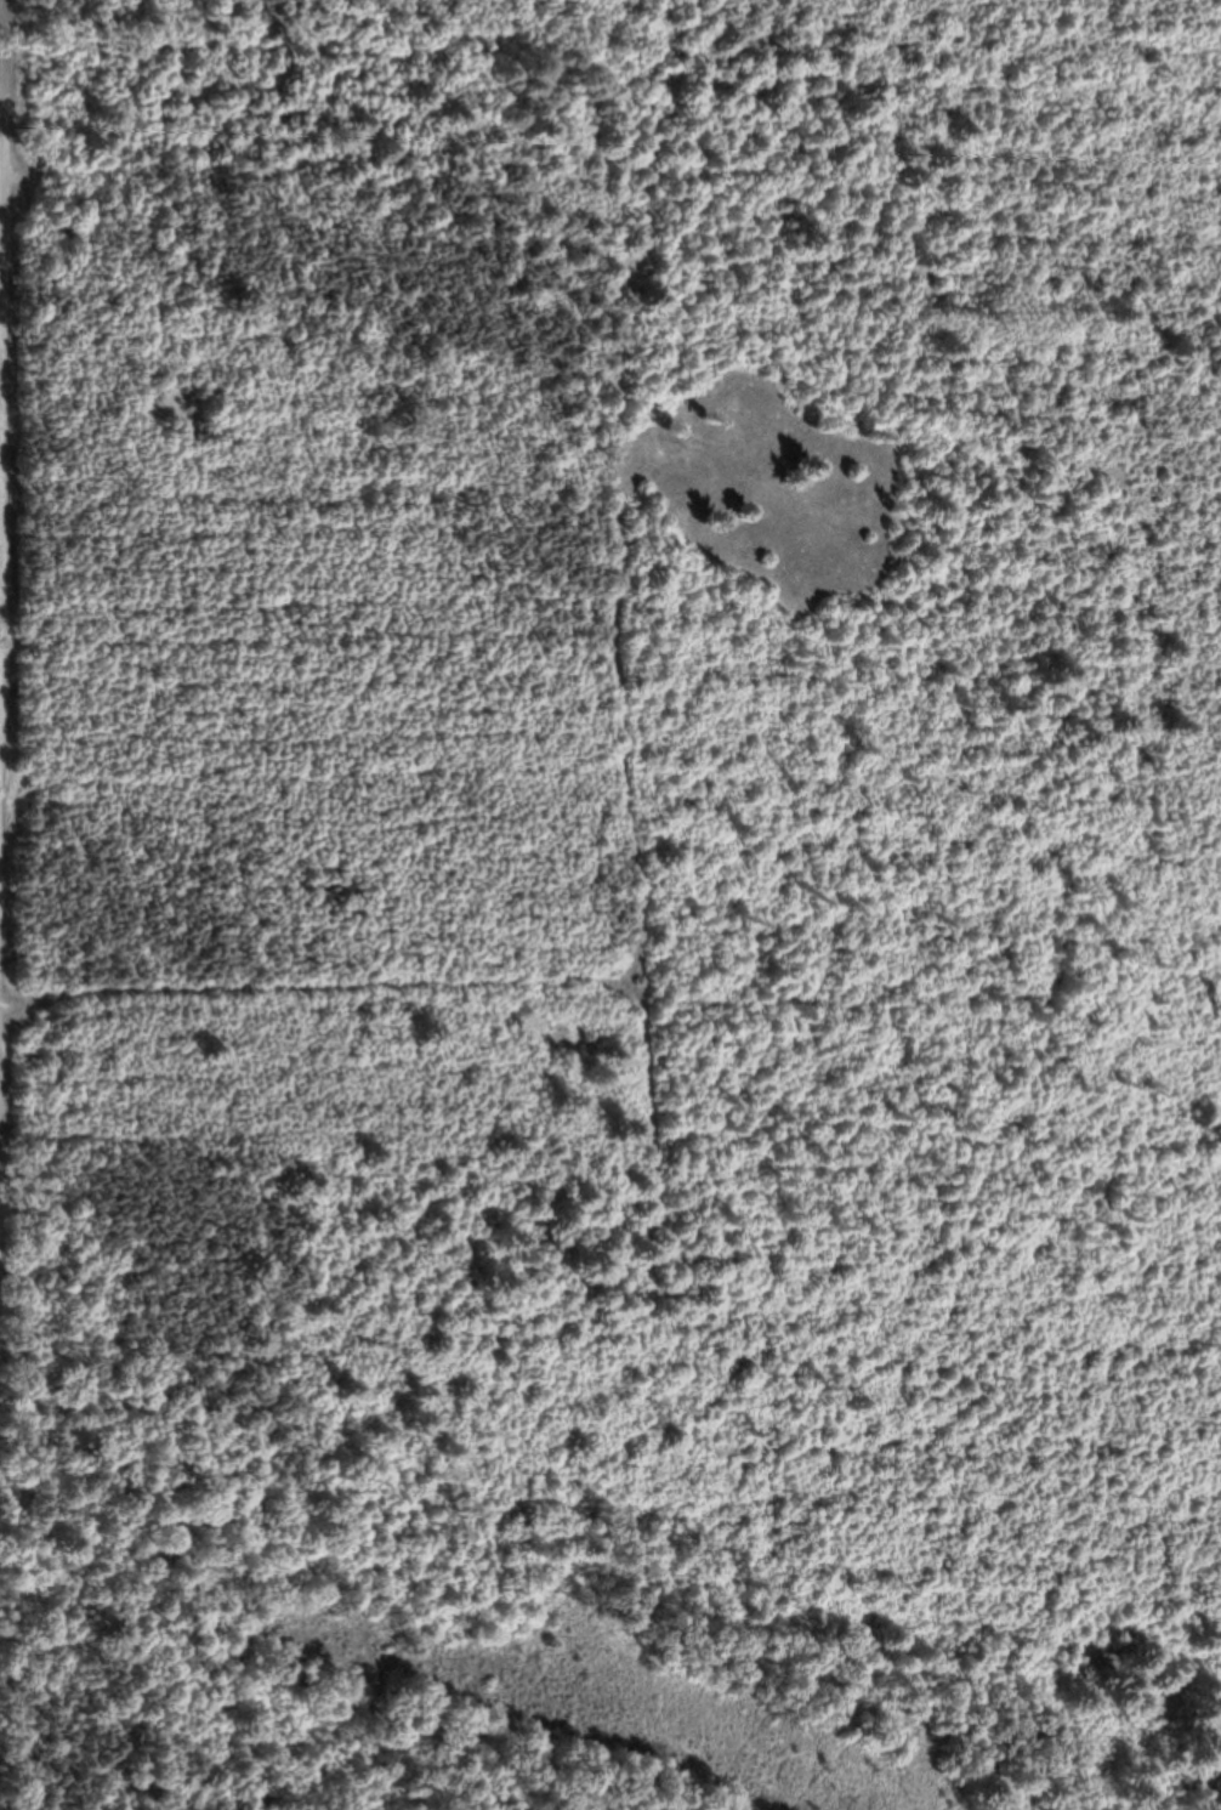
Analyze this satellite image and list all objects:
road: (6, 51)
road: (4, 618)

